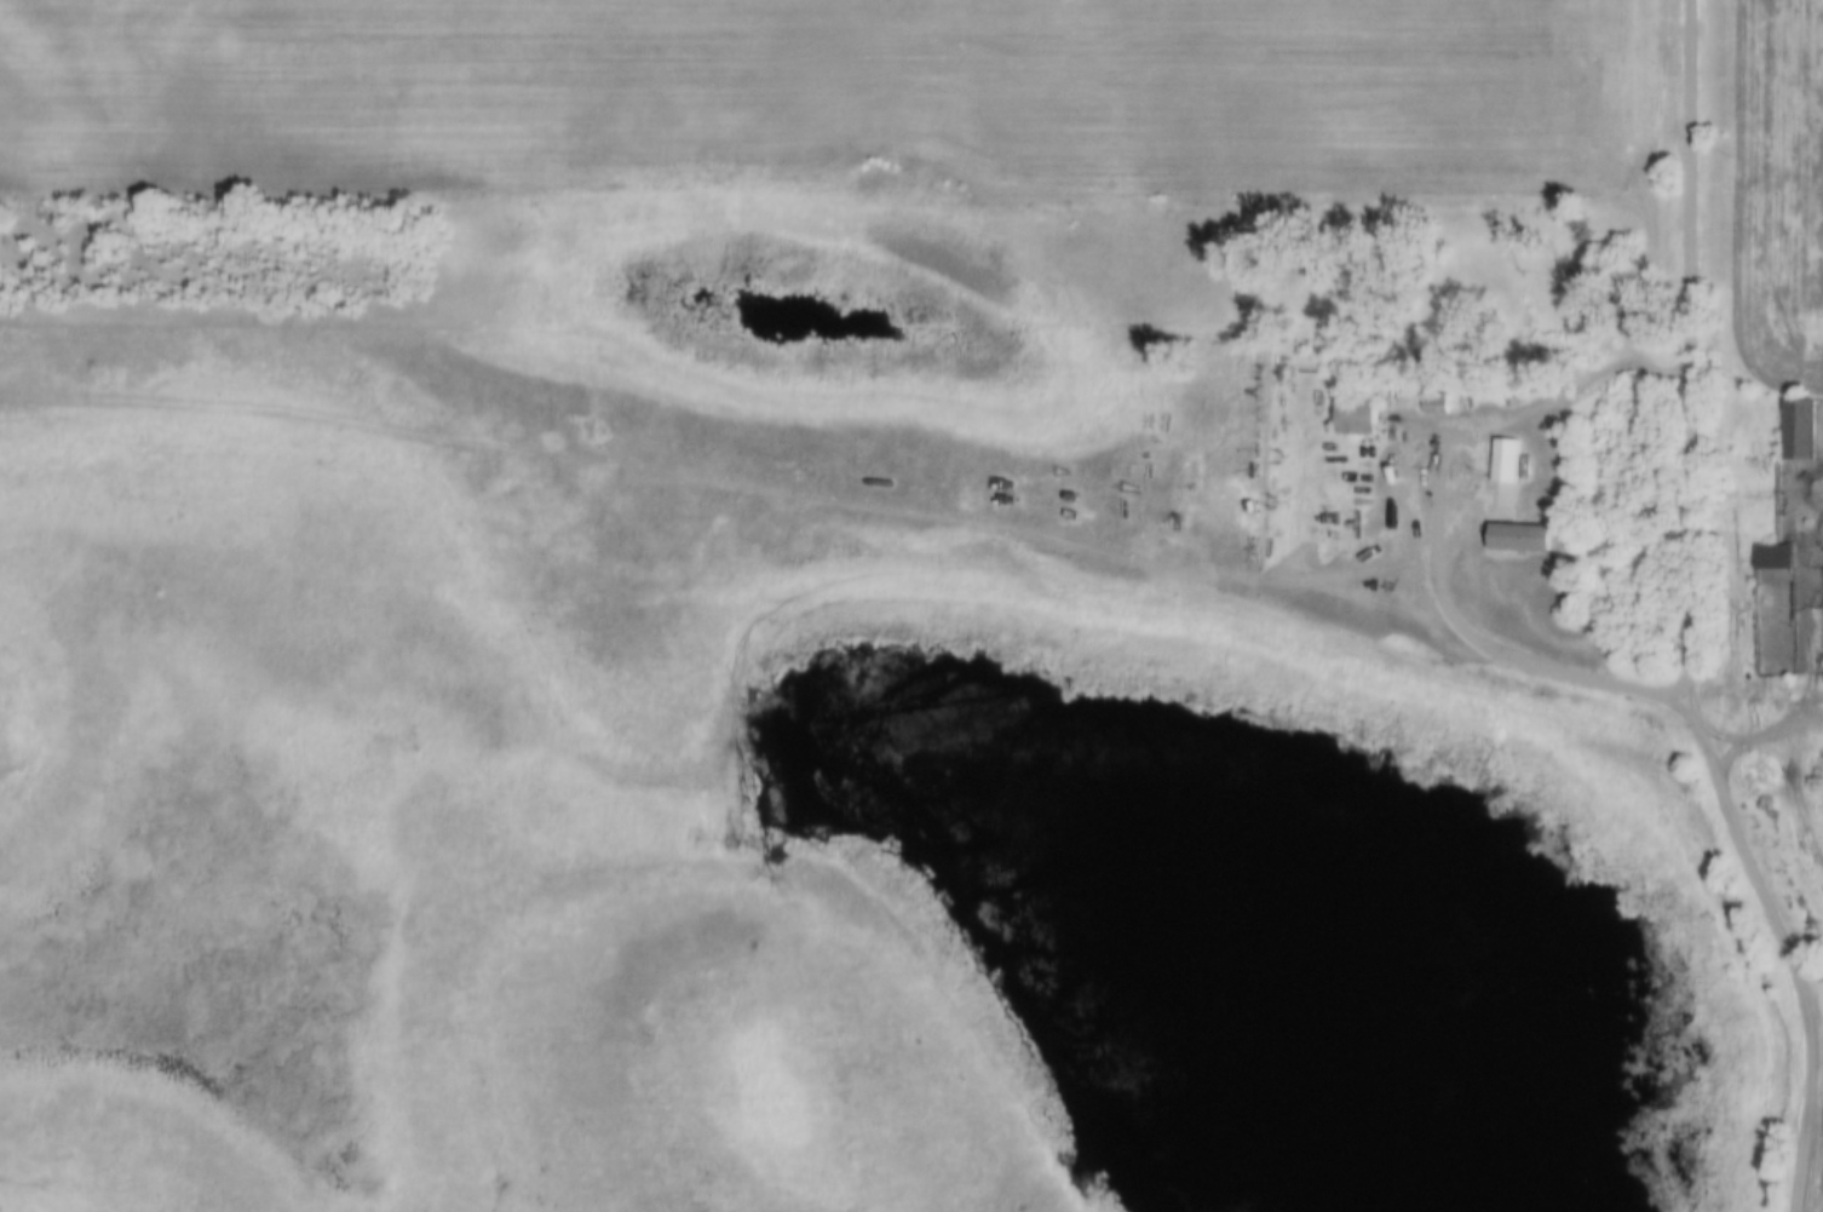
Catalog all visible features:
building: (1353, 417)
building: (1795, 430)
building: (1509, 470)
road: (1432, 521)
building: (1524, 539)
building: (1771, 556)
road: (1686, 619)
road: (1759, 736)

